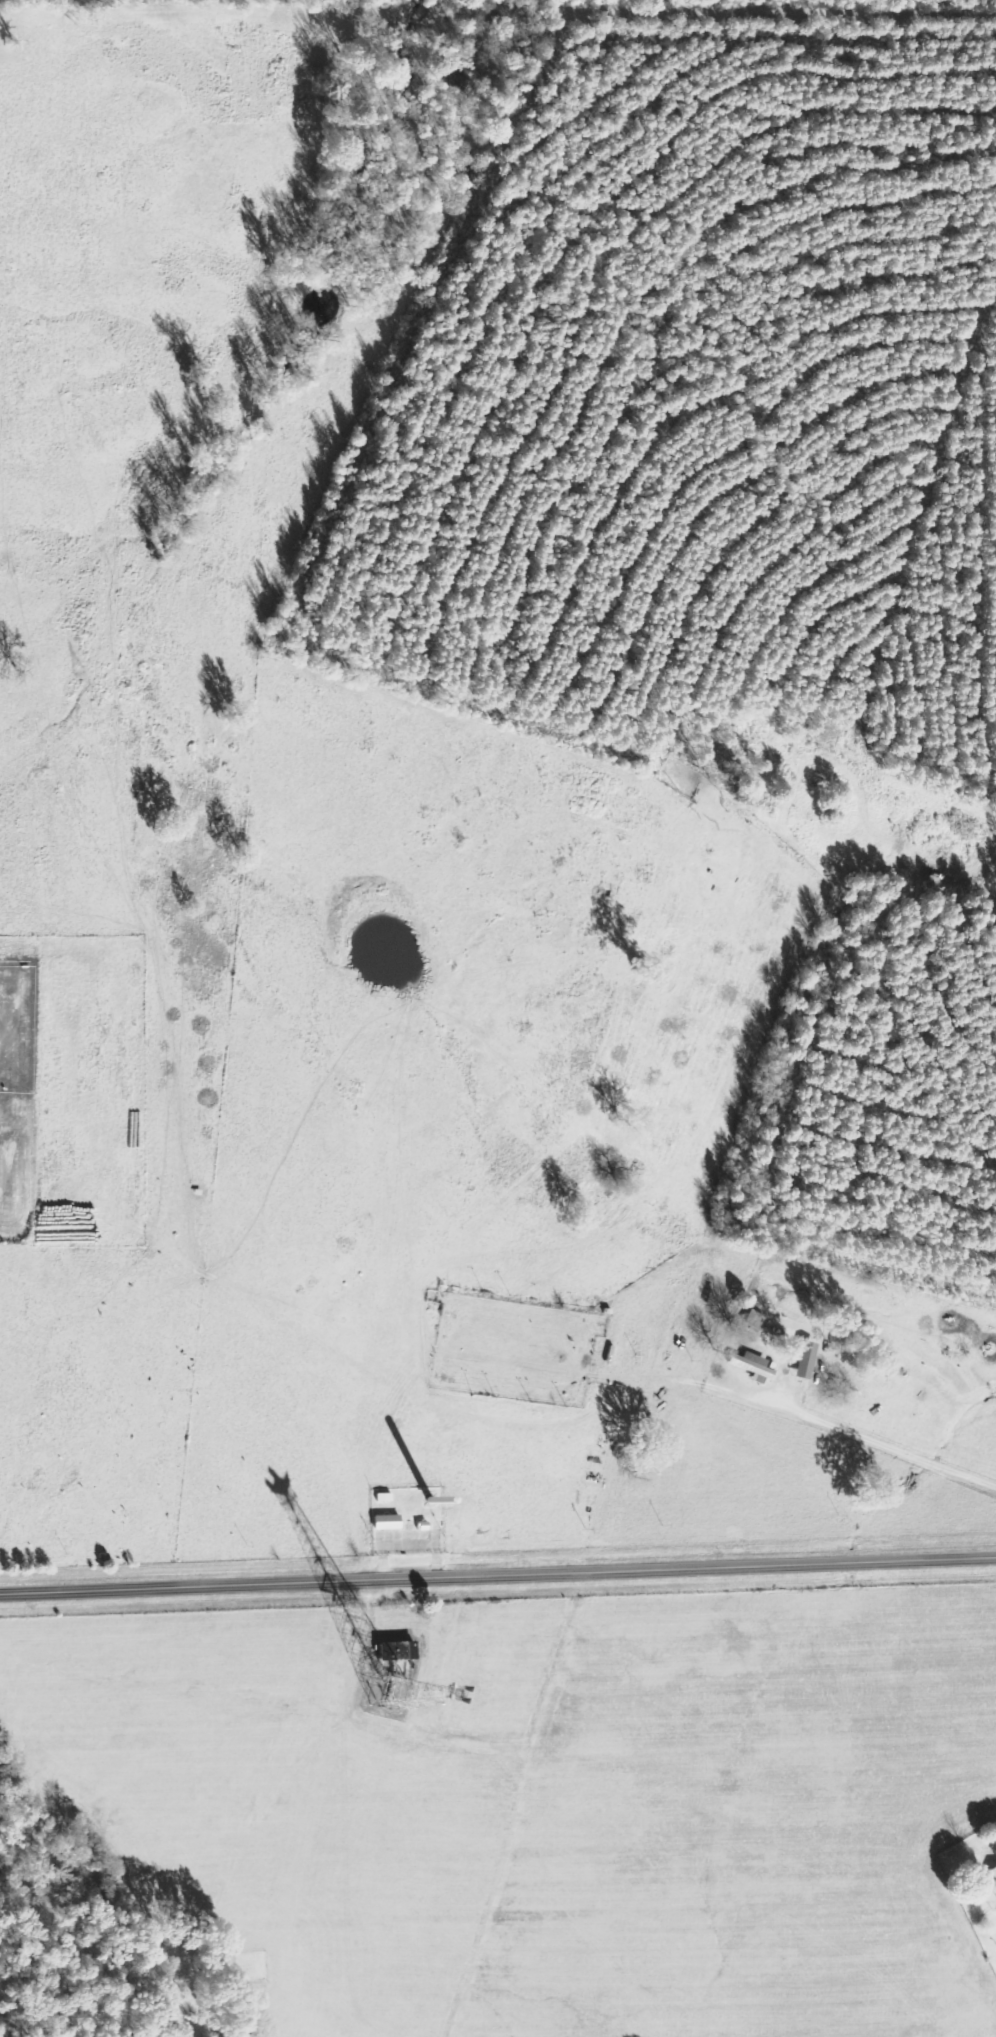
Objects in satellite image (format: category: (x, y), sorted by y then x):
building: (752, 1365)
building: (800, 1367)
road: (881, 1440)
building: (384, 1496)
building: (387, 1520)
building: (422, 1525)
road: (498, 1575)
building: (400, 1649)
building: (992, 1875)
building: (994, 1892)

